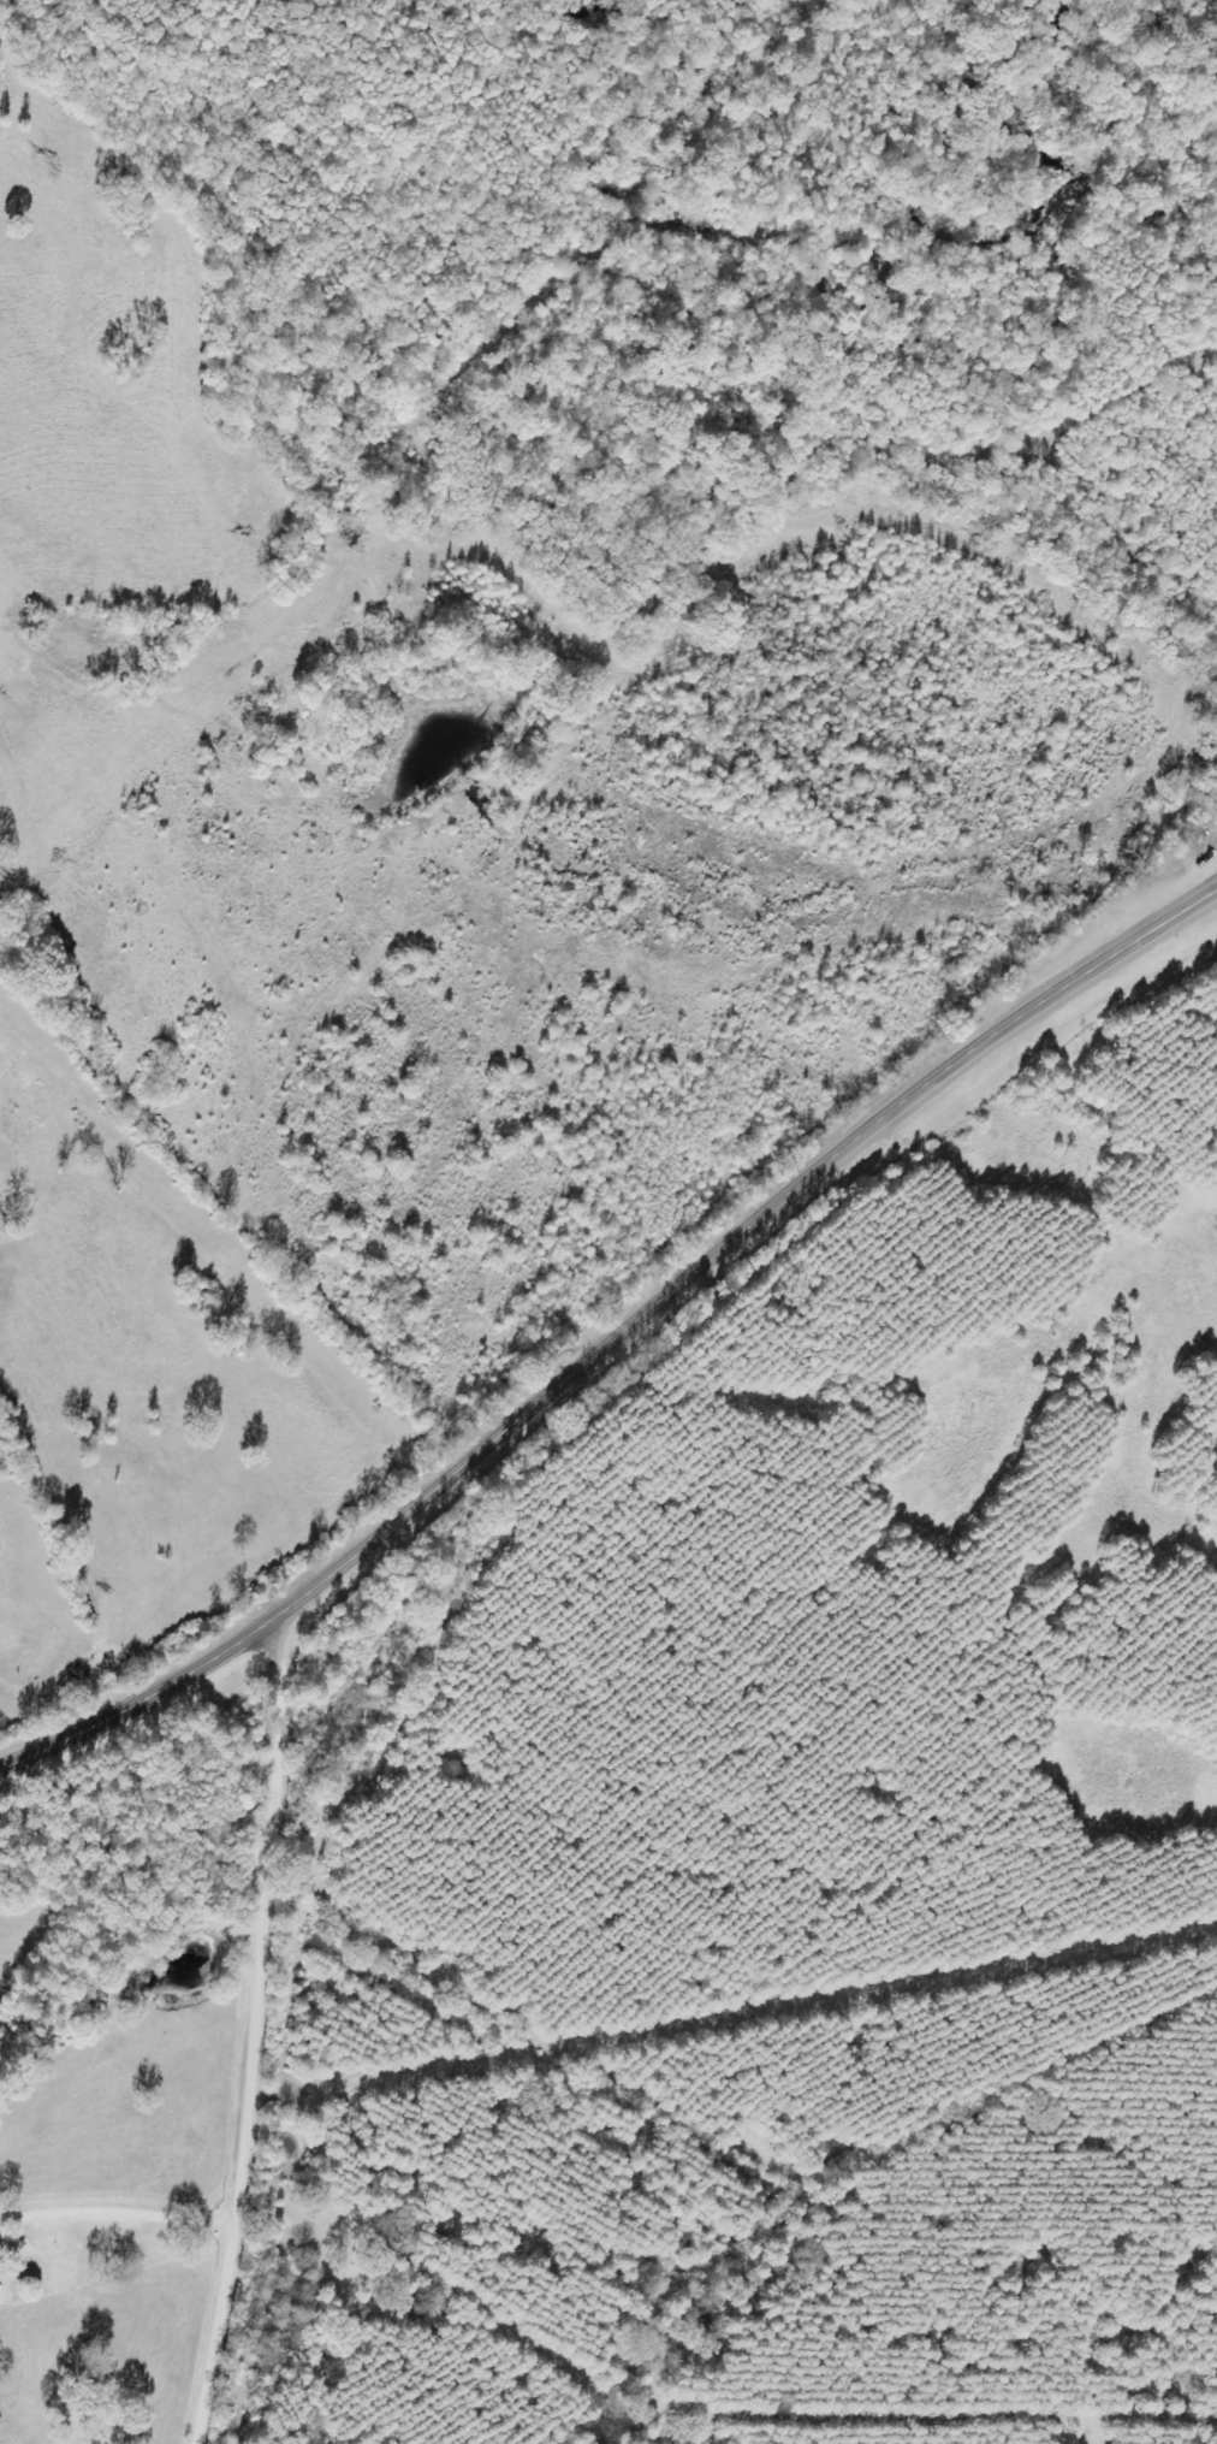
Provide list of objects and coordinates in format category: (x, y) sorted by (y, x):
road: (615, 1342)
road: (241, 2037)
building: (0, 2286)

